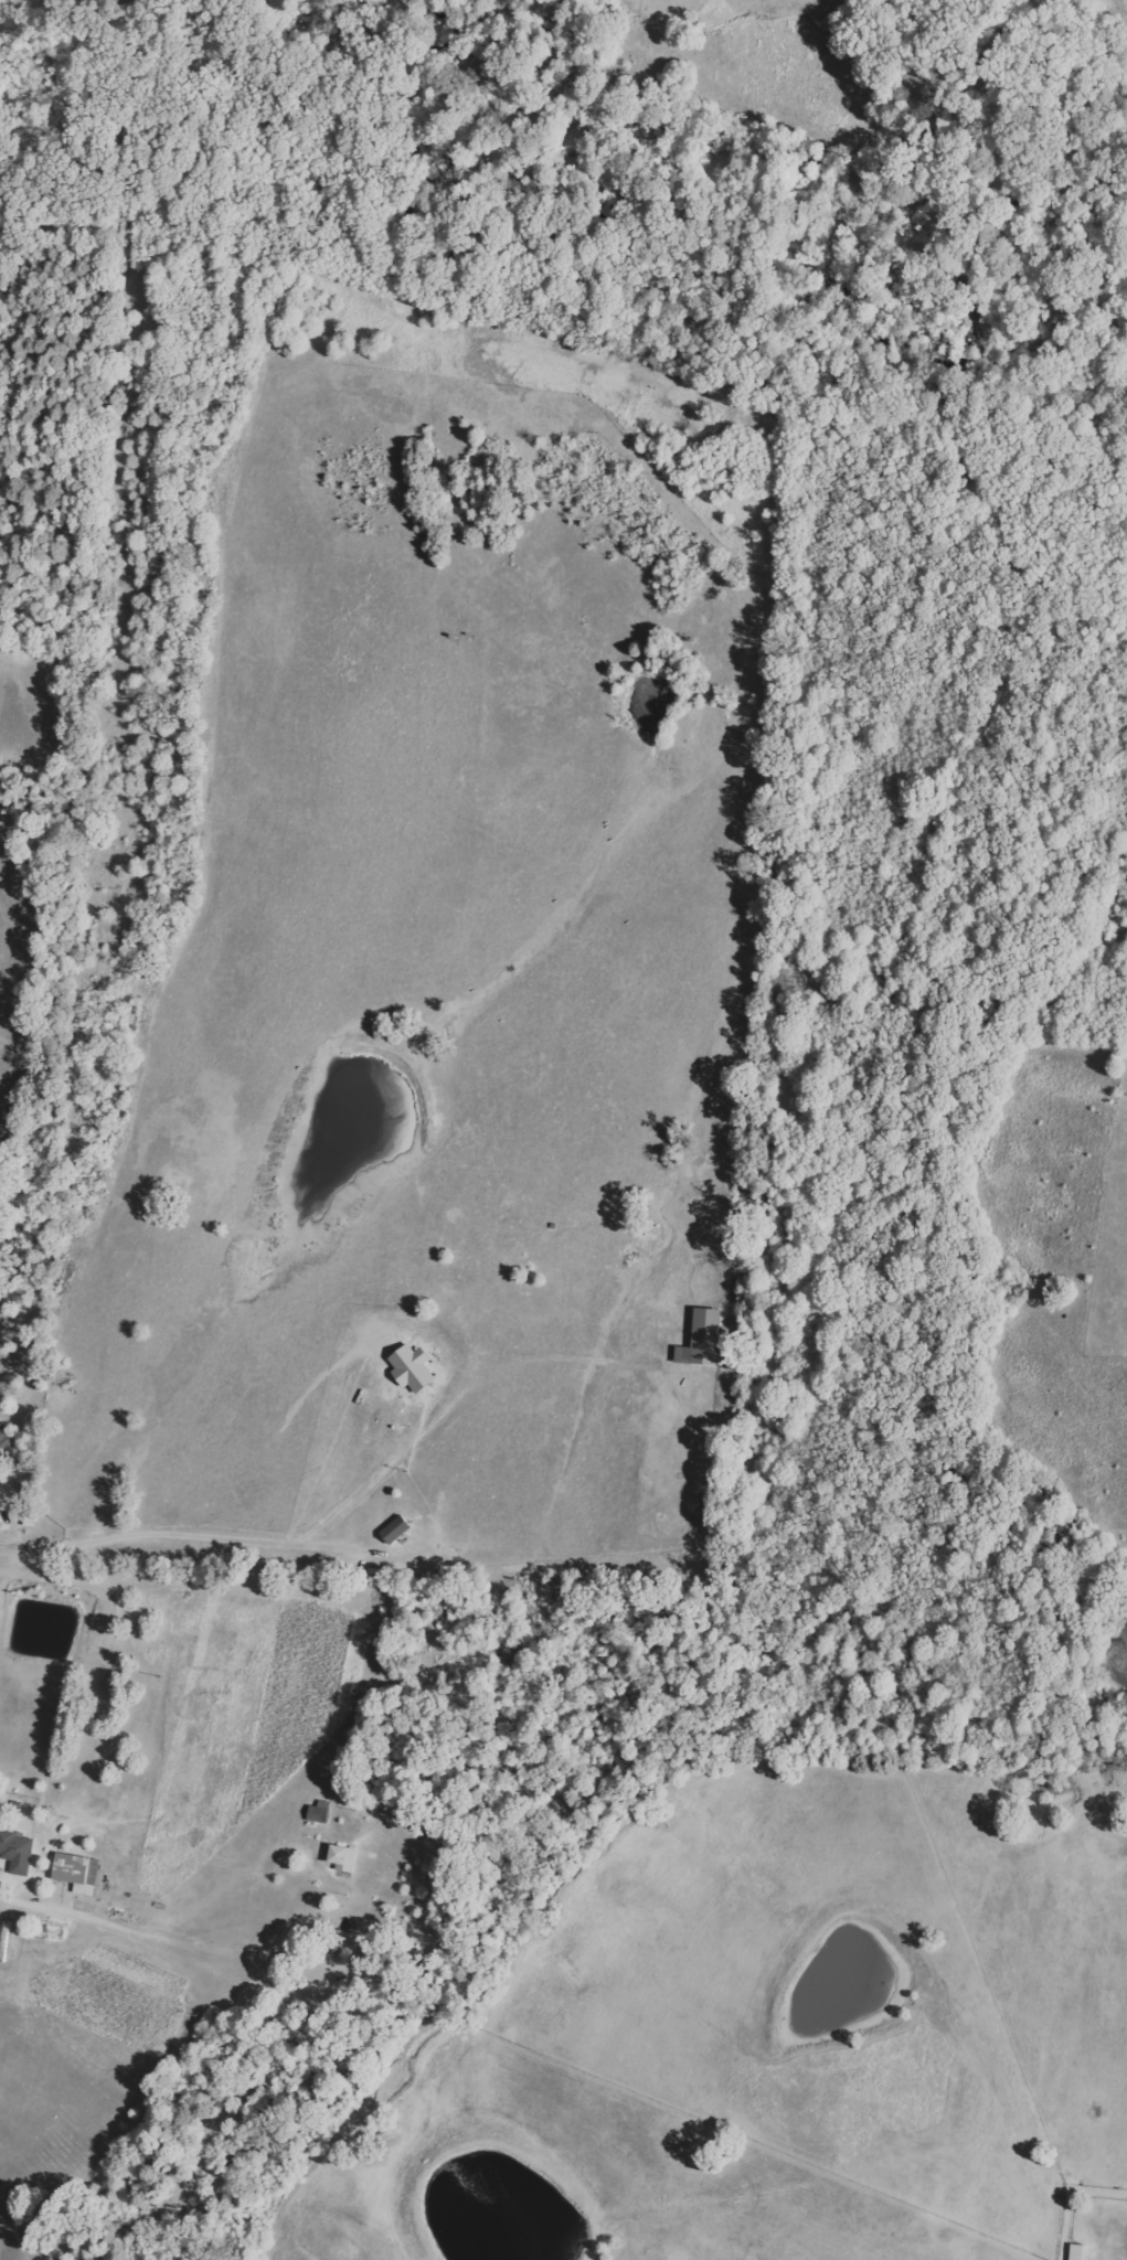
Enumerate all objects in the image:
road: (75, 1330)
building: (702, 1339)
road: (450, 1395)
road: (29, 1416)
building: (8, 1445)
road: (204, 1526)
building: (395, 1529)
building: (17, 1851)
building: (342, 1858)
building: (77, 1873)
building: (1076, 2251)

